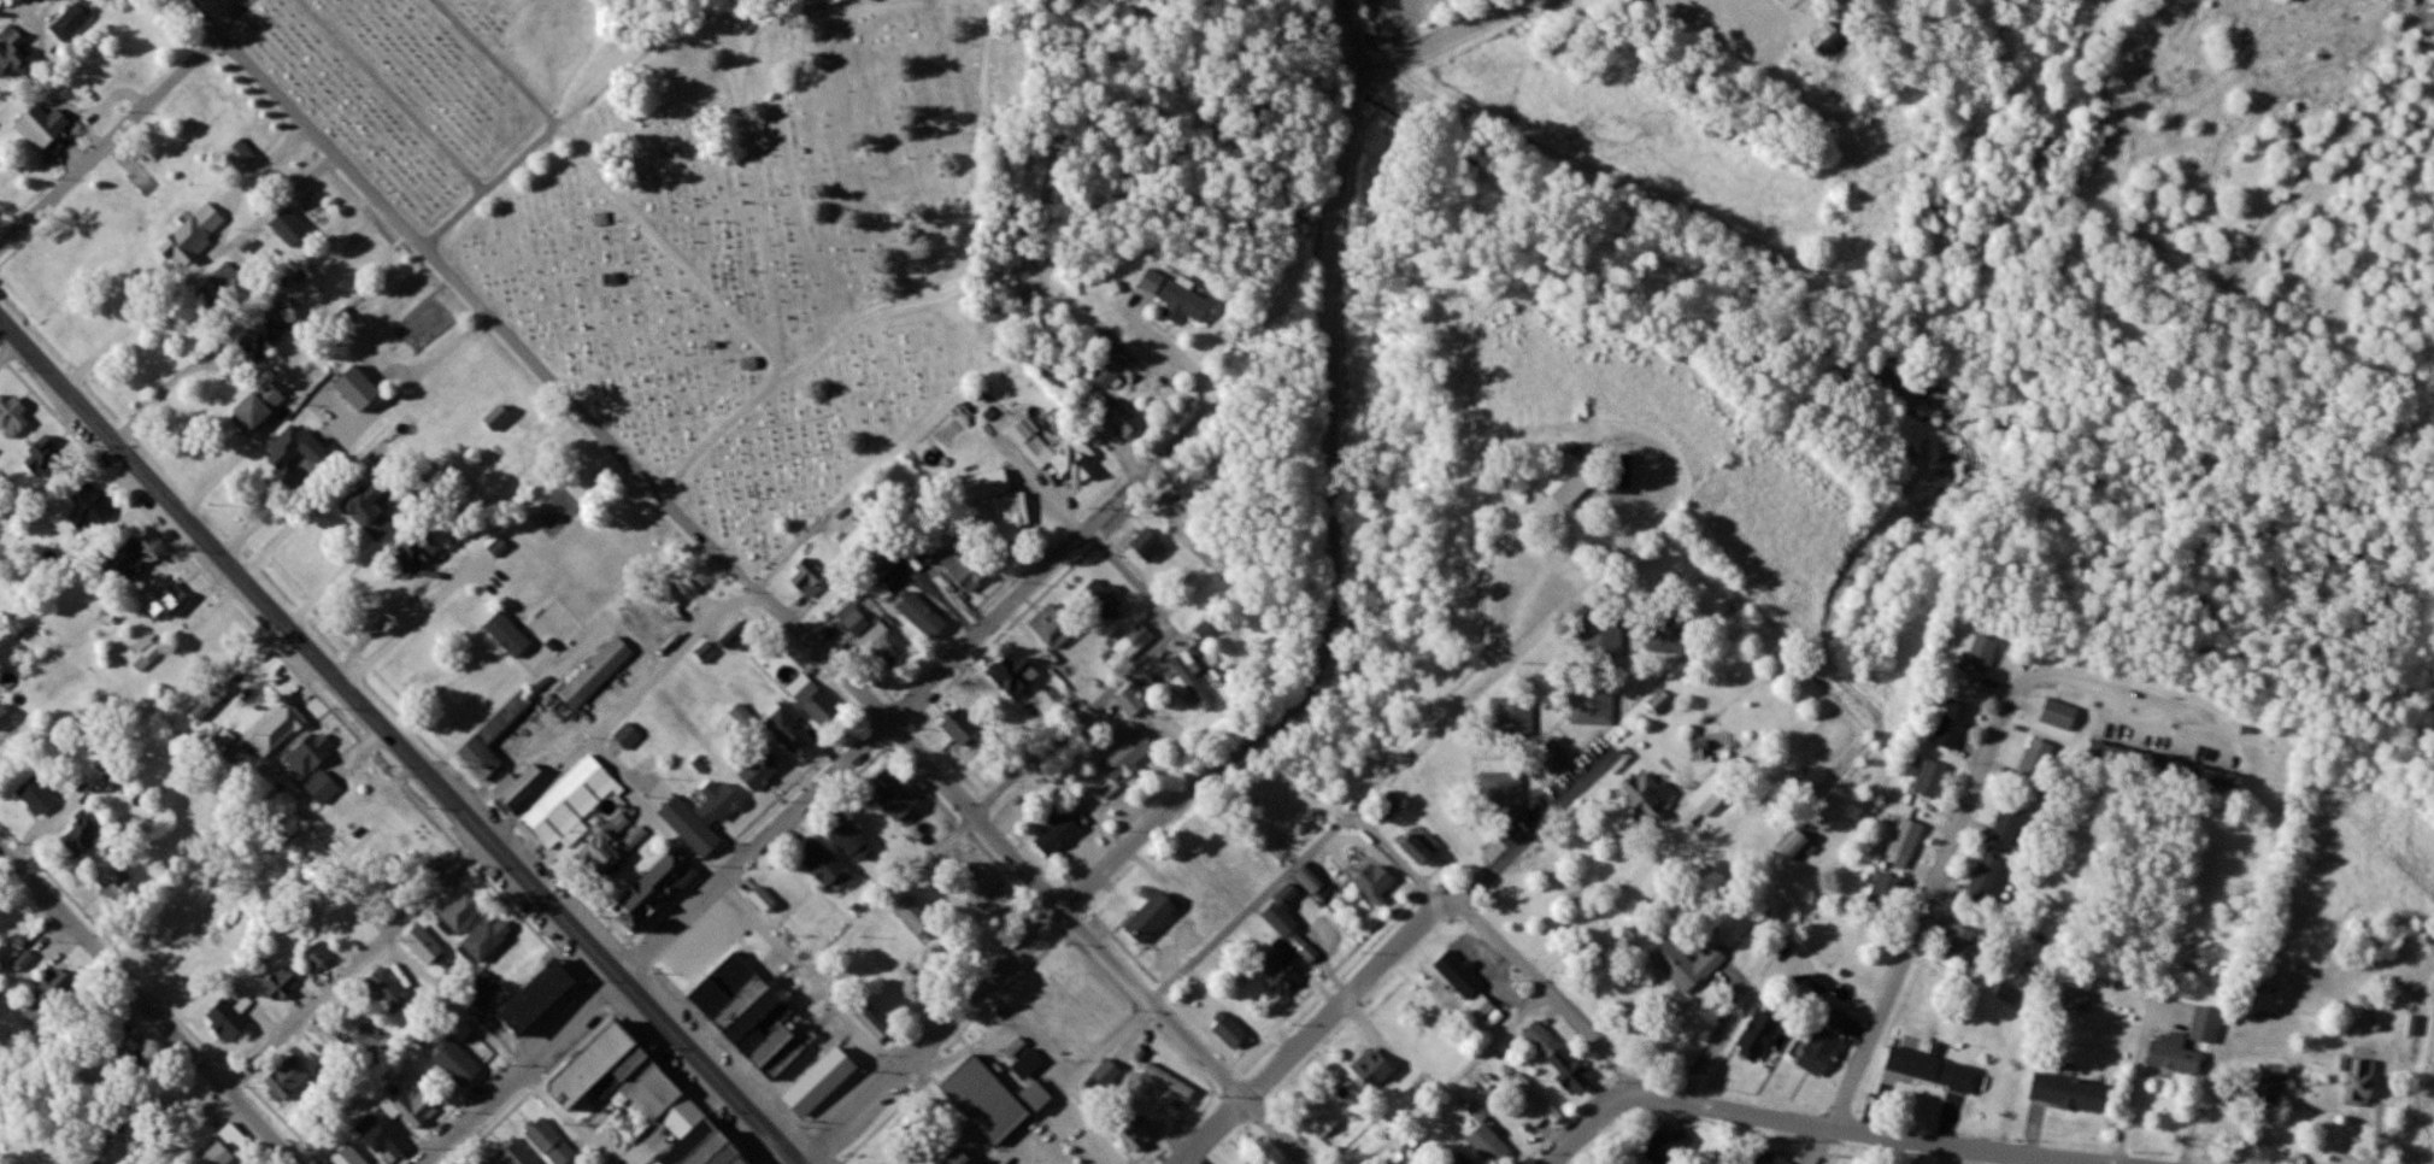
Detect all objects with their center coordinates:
road: (240, 17)
building: (75, 20)
road: (1441, 39)
building: (1825, 40)
building: (11, 57)
building: (45, 127)
road: (111, 137)
building: (241, 157)
building: (193, 236)
building: (222, 284)
road: (1329, 294)
building: (1175, 299)
building: (263, 336)
road: (11, 352)
building: (313, 372)
building: (1105, 376)
building: (357, 388)
building: (257, 406)
building: (12, 416)
building: (496, 419)
building: (1123, 419)
road: (353, 433)
building: (294, 447)
building: (1056, 453)
road: (628, 455)
building: (43, 459)
building: (1618, 481)
building: (1571, 496)
building: (998, 501)
building: (90, 507)
building: (370, 512)
building: (847, 529)
building: (1147, 546)
building: (928, 551)
building: (415, 554)
building: (128, 559)
building: (883, 563)
building: (963, 571)
building: (809, 580)
building: (695, 586)
building: (1100, 600)
building: (164, 602)
building: (921, 616)
building: (1052, 628)
building: (1207, 628)
building: (740, 633)
building: (1599, 633)
building: (1139, 637)
building: (207, 647)
building: (886, 647)
building: (145, 648)
building: (1981, 654)
building: (596, 674)
building: (1011, 676)
road: (1123, 677)
road: (1489, 680)
building: (1192, 683)
road: (912, 699)
building: (812, 700)
building: (1130, 701)
building: (211, 702)
building: (1592, 702)
building: (1660, 704)
road: (617, 709)
building: (2058, 715)
building: (741, 716)
building: (5, 718)
building: (1511, 718)
building: (1952, 725)
building: (960, 728)
building: (276, 730)
building: (789, 730)
building: (628, 736)
building: (492, 739)
road: (395, 740)
building: (1128, 754)
building: (307, 757)
building: (1552, 757)
building: (2035, 764)
building: (759, 772)
building: (117, 777)
building: (1930, 780)
building: (518, 788)
building: (322, 789)
building: (1500, 793)
building: (890, 794)
building: (1646, 795)
building: (36, 796)
building: (564, 811)
building: (700, 813)
building: (2013, 823)
building: (1057, 835)
building: (846, 836)
building: (1906, 839)
building: (80, 842)
road: (1950, 843)
building: (610, 846)
building: (1795, 846)
building: (1419, 847)
road: (1395, 860)
building: (821, 863)
crop: (2369, 863)
building: (1311, 877)
building: (1989, 881)
building: (113, 882)
building: (1375, 882)
building: (653, 889)
road: (1088, 889)
building: (1883, 892)
building: (762, 899)
road: (1610, 903)
road: (743, 905)
building: (461, 912)
road: (1251, 913)
building: (913, 916)
building: (5, 918)
building: (1150, 918)
building: (347, 919)
building: (484, 940)
building: (1321, 941)
building: (1957, 945)
building: (423, 946)
building: (317, 957)
road: (1386, 958)
road: (357, 964)
building: (1687, 966)
building: (1283, 978)
building: (280, 984)
road: (1545, 986)
building: (58, 987)
building: (386, 990)
building: (481, 990)
building: (535, 998)
building: (2075, 1000)
road: (147, 1006)
building: (1482, 1007)
building: (225, 1022)
building: (1840, 1023)
building: (2205, 1024)
building: (1229, 1033)
building: (768, 1035)
building: (1757, 1036)
road: (1184, 1039)
road: (735, 1040)
building: (333, 1042)
road: (496, 1050)
building: (1821, 1053)
building: (129, 1056)
building: (1557, 1057)
building: (2174, 1059)
building: (455, 1064)
building: (1027, 1066)
building: (1368, 1069)
building: (1930, 1069)
road: (522, 1072)
road: (1450, 1074)
building: (1106, 1075)
road: (1070, 1077)
building: (287, 1081)
building: (1170, 1082)
building: (2360, 1082)
building: (2268, 1088)
crop: (2421, 1090)
building: (2068, 1093)
building: (1035, 1097)
building: (639, 1098)
building: (983, 1100)
building: (1535, 1104)
building: (417, 1110)
building: (1477, 1112)
road: (880, 1115)
road: (809, 1118)
building: (1321, 1118)
road: (1774, 1122)
road: (911, 1124)
park: (919, 1125)
building: (1135, 1134)
building: (234, 1137)
building: (382, 1139)
building: (549, 1142)
building: (1489, 1146)
building: (1666, 1147)
road: (1822, 1148)
building: (513, 1153)
building: (216, 1156)
building: (347, 1157)
road: (835, 1157)
building: (1766, 1157)
building: (957, 1158)
building: (1459, 1159)
building: (1253, 1160)
building: (978, 1162)
building: (488, 1163)

